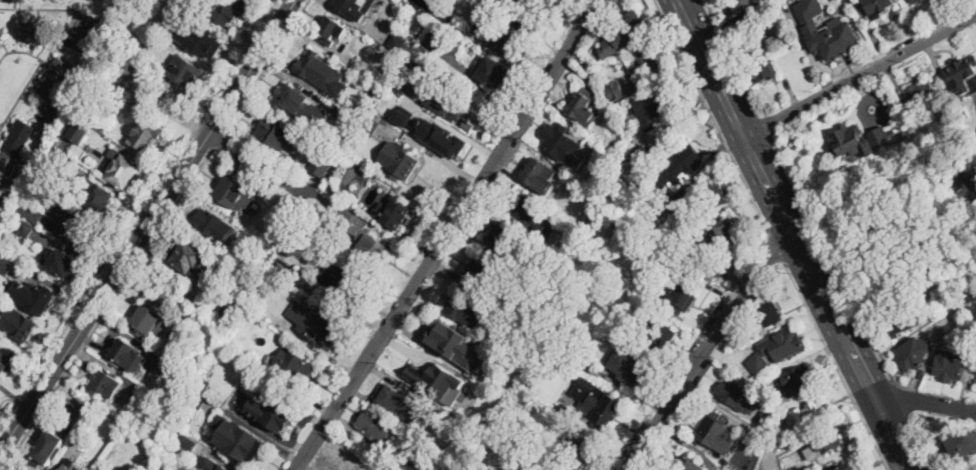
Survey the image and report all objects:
building: (852, 0)
building: (914, 1)
building: (741, 5)
building: (878, 6)
building: (357, 8)
building: (526, 9)
building: (228, 11)
building: (446, 17)
building: (746, 26)
building: (627, 29)
building: (331, 30)
building: (1, 31)
building: (34, 31)
building: (826, 31)
building: (434, 38)
building: (502, 39)
building: (203, 40)
building: (399, 40)
road: (731, 55)
building: (439, 62)
building: (646, 62)
building: (760, 66)
building: (185, 71)
building: (365, 71)
building: (321, 72)
building: (491, 72)
building: (593, 74)
building: (962, 75)
building: (54, 77)
road: (856, 80)
building: (415, 86)
building: (372, 89)
building: (616, 89)
building: (920, 94)
building: (291, 98)
building: (582, 104)
building: (655, 105)
building: (454, 106)
building: (106, 108)
building: (339, 114)
building: (959, 114)
building: (402, 115)
road: (710, 115)
road: (765, 123)
building: (370, 126)
building: (79, 131)
building: (272, 131)
building: (147, 135)
building: (881, 135)
building: (441, 136)
building: (851, 141)
building: (562, 142)
building: (14, 147)
building: (90, 147)
building: (643, 147)
building: (69, 161)
building: (323, 161)
road: (253, 162)
building: (399, 162)
building: (681, 167)
building: (123, 171)
building: (535, 171)
building: (333, 182)
building: (964, 188)
building: (235, 193)
building: (97, 196)
building: (714, 197)
road: (765, 198)
road: (788, 200)
building: (673, 204)
building: (31, 212)
building: (393, 212)
road: (138, 214)
building: (532, 216)
building: (289, 222)
road: (145, 224)
building: (214, 225)
building: (27, 229)
building: (86, 231)
road: (158, 231)
road: (449, 234)
building: (717, 236)
building: (365, 238)
building: (507, 241)
road: (775, 243)
building: (265, 246)
building: (639, 249)
building: (583, 253)
building: (737, 253)
building: (189, 257)
road: (831, 257)
building: (647, 260)
building: (31, 262)
building: (6, 263)
building: (61, 263)
building: (479, 270)
building: (298, 278)
building: (342, 285)
building: (679, 295)
building: (39, 300)
building: (465, 311)
building: (766, 312)
building: (522, 314)
building: (896, 322)
building: (149, 323)
building: (515, 323)
building: (18, 324)
building: (611, 324)
building: (320, 328)
building: (660, 336)
building: (444, 341)
road: (711, 343)
building: (735, 345)
building: (777, 348)
building: (913, 353)
building: (125, 354)
building: (240, 354)
building: (268, 358)
building: (5, 359)
road: (834, 363)
building: (293, 365)
building: (257, 366)
building: (588, 366)
building: (627, 366)
building: (948, 366)
building: (166, 367)
building: (225, 369)
building: (429, 371)
building: (471, 374)
building: (797, 380)
building: (975, 381)
building: (204, 382)
building: (529, 382)
building: (105, 384)
building: (736, 393)
building: (393, 395)
road: (900, 397)
building: (196, 399)
building: (460, 407)
building: (600, 408)
road: (920, 408)
building: (568, 410)
building: (273, 411)
building: (808, 415)
road: (739, 418)
building: (761, 425)
building: (378, 426)
building: (713, 432)
road: (882, 434)
road: (637, 435)
road: (907, 436)
building: (441, 437)
building: (187, 440)
building: (780, 440)
building: (533, 441)
road: (922, 443)
building: (825, 444)
road: (653, 445)
building: (962, 445)
building: (48, 448)
building: (247, 450)
building: (577, 453)
road: (4, 460)
building: (689, 464)
building: (216, 465)
building: (340, 465)
building: (409, 465)
road: (7, 466)
building: (72, 467)
building: (547, 467)
building: (847, 467)
building: (464, 469)

